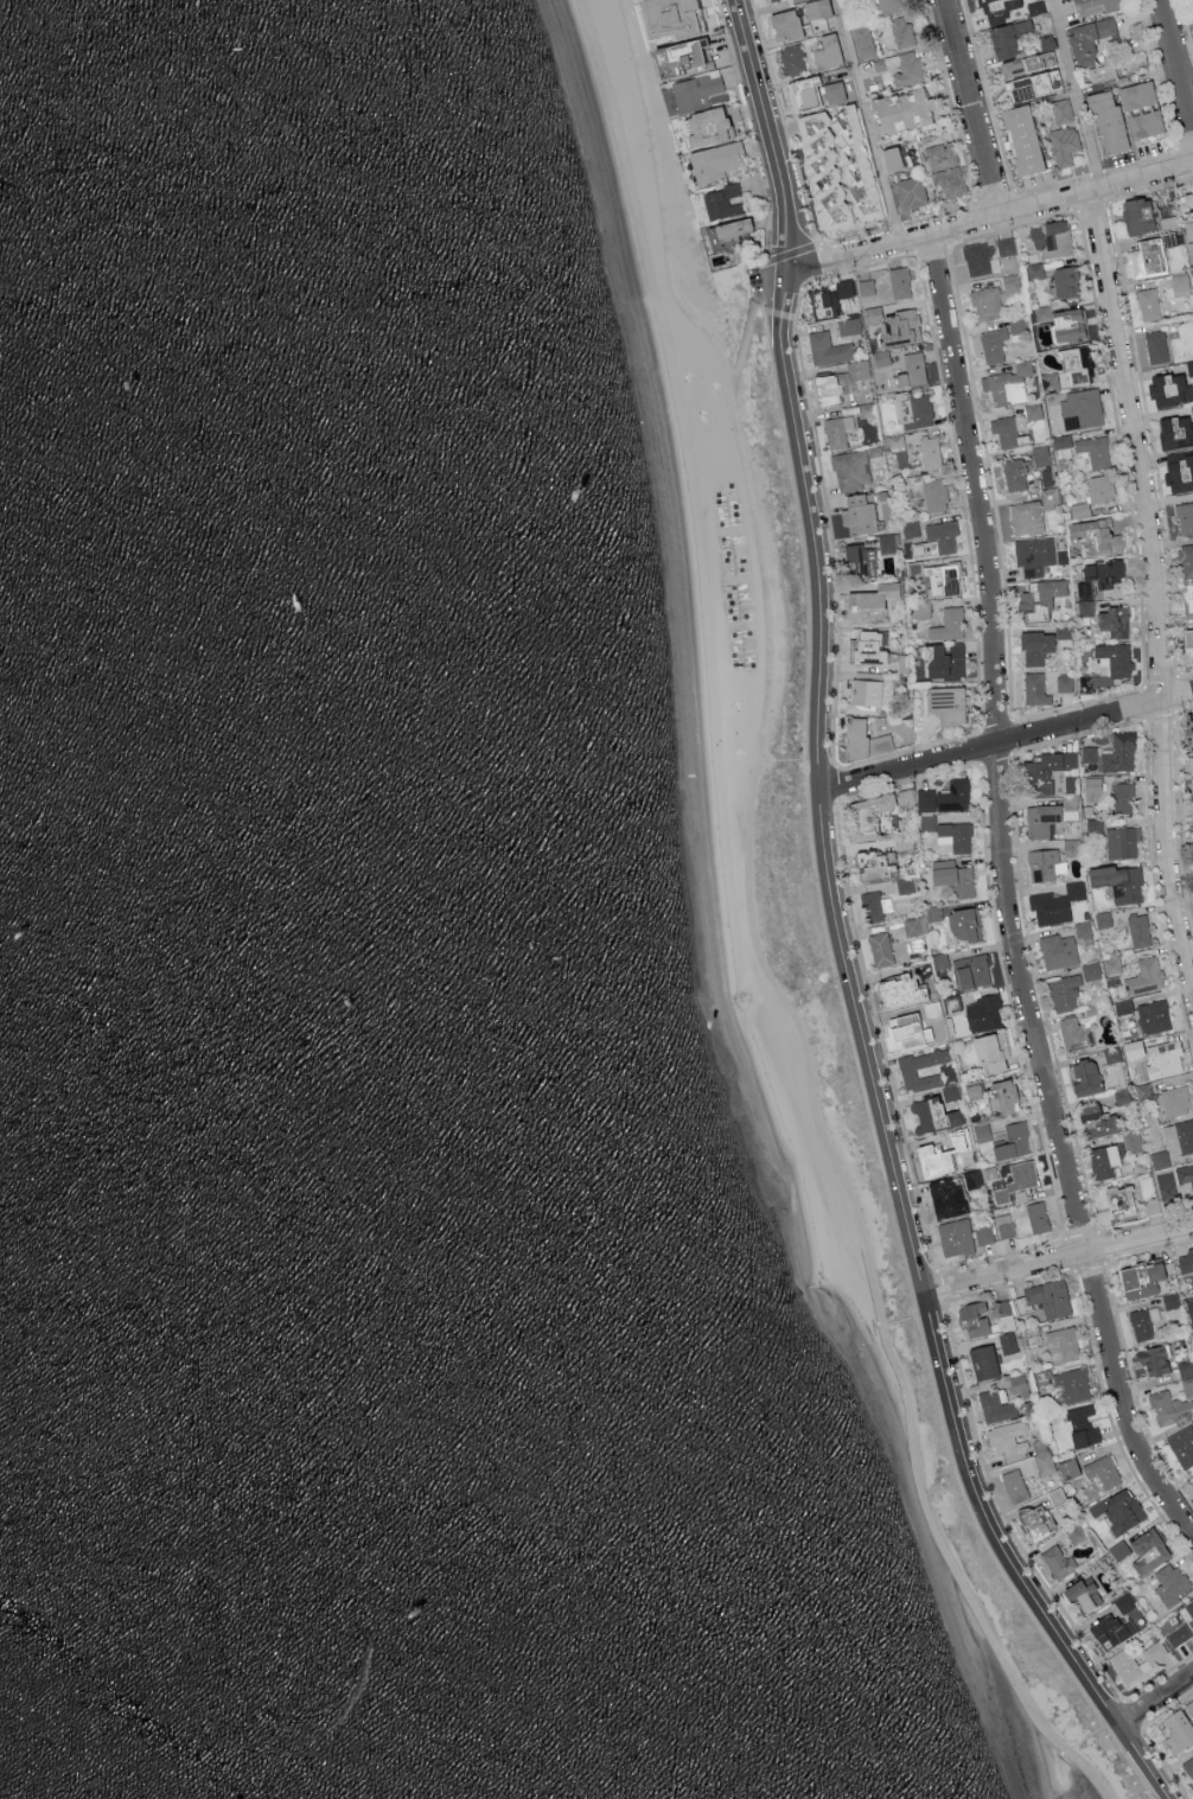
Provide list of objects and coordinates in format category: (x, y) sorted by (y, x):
building: (770, 0)
building: (888, 5)
building: (997, 5)
building: (1093, 5)
building: (1035, 7)
building: (816, 8)
building: (676, 19)
building: (784, 24)
road: (1185, 26)
building: (900, 31)
building: (1010, 37)
building: (1087, 38)
building: (862, 40)
building: (1047, 42)
building: (827, 51)
building: (792, 59)
building: (1034, 59)
building: (685, 60)
road: (1176, 62)
building: (900, 66)
building: (1102, 71)
building: (1032, 83)
building: (695, 90)
building: (805, 90)
building: (832, 90)
building: (1135, 94)
road: (988, 95)
road: (1076, 95)
road: (949, 100)
road: (971, 108)
building: (899, 109)
building: (1061, 109)
road: (1167, 111)
road: (867, 121)
building: (1106, 121)
building: (1143, 123)
building: (704, 125)
road: (651, 126)
road: (749, 138)
building: (1021, 139)
building: (1063, 143)
road: (1185, 146)
road: (793, 154)
building: (940, 154)
building: (889, 158)
building: (714, 160)
building: (836, 166)
road: (1096, 173)
building: (949, 180)
road: (1052, 184)
road: (1150, 190)
building: (908, 192)
road: (994, 194)
building: (721, 200)
building: (1186, 202)
road: (1093, 206)
road: (938, 213)
building: (1135, 213)
road: (989, 218)
road: (1045, 219)
road: (893, 225)
building: (731, 229)
building: (1051, 238)
building: (1004, 245)
road: (930, 248)
building: (1191, 250)
road: (790, 251)
building: (1144, 257)
building: (980, 259)
road: (810, 266)
road: (855, 268)
building: (1034, 269)
building: (1191, 272)
parking lot: (754, 279)
road: (761, 281)
building: (886, 281)
building: (1064, 281)
building: (1010, 282)
building: (1179, 285)
road: (779, 294)
building: (827, 296)
building: (985, 302)
building: (1148, 302)
building: (1040, 313)
building: (893, 324)
building: (849, 325)
building: (1070, 325)
road: (747, 327)
building: (993, 344)
building: (1155, 345)
building: (828, 347)
building: (880, 356)
building: (1072, 365)
building: (1189, 366)
building: (911, 368)
building: (1010, 381)
building: (825, 388)
building: (1168, 389)
building: (1079, 408)
building: (913, 409)
building: (1192, 409)
building: (1032, 410)
building: (837, 429)
building: (1003, 429)
building: (1174, 430)
road: (1149, 438)
building: (1061, 445)
road: (983, 447)
building: (1093, 449)
building: (929, 452)
building: (1040, 455)
building: (850, 470)
building: (1178, 471)
building: (1014, 473)
building: (1098, 487)
building: (933, 495)
building: (1079, 509)
building: (857, 512)
road: (1131, 515)
building: (1026, 517)
building: (1184, 517)
road: (829, 525)
building: (910, 527)
road: (802, 532)
building: (1096, 532)
building: (936, 538)
building: (886, 543)
building: (1033, 554)
building: (859, 560)
building: (1186, 560)
road: (970, 563)
building: (1097, 575)
building: (943, 579)
road: (1157, 588)
building: (1188, 597)
building: (1039, 599)
building: (868, 602)
building: (1085, 607)
building: (920, 608)
building: (1112, 620)
building: (946, 624)
building: (1187, 642)
building: (1034, 646)
building: (867, 647)
building: (944, 661)
building: (1106, 666)
road: (1185, 674)
road: (1160, 681)
building: (1064, 682)
building: (888, 687)
building: (1034, 688)
building: (865, 691)
road: (1174, 693)
building: (945, 703)
road: (1143, 719)
building: (1189, 722)
road: (996, 726)
building: (862, 739)
road: (1008, 744)
road: (981, 747)
road: (1010, 752)
building: (1112, 753)
road: (819, 766)
building: (1046, 770)
building: (1191, 773)
road: (835, 782)
building: (1070, 783)
building: (1093, 783)
building: (945, 796)
building: (1122, 797)
building: (1191, 808)
building: (869, 810)
building: (1041, 819)
building: (949, 832)
building: (1121, 841)
building: (1070, 846)
building: (1044, 863)
building: (873, 865)
building: (951, 875)
building: (1117, 881)
building: (905, 885)
road: (1004, 898)
building: (1054, 902)
building: (873, 906)
building: (932, 913)
building: (1102, 919)
building: (962, 925)
building: (911, 926)
building: (1082, 929)
road: (840, 930)
building: (1138, 930)
building: (880, 949)
building: (1057, 951)
building: (939, 959)
building: (1111, 964)
building: (1090, 970)
building: (970, 971)
building: (1144, 976)
building: (897, 989)
building: (1064, 993)
building: (952, 1004)
building: (1123, 1006)
building: (984, 1013)
building: (1151, 1016)
building: (904, 1029)
building: (1076, 1035)
road: (853, 1042)
road: (808, 1045)
building: (1133, 1048)
building: (990, 1051)
building: (1111, 1054)
building: (1168, 1057)
building: (907, 1070)
building: (1084, 1078)
building: (971, 1090)
building: (949, 1092)
building: (1003, 1096)
building: (1121, 1096)
building: (1174, 1101)
building: (932, 1115)
building: (1096, 1121)
building: (982, 1131)
building: (1179, 1136)
building: (957, 1140)
building: (1013, 1141)
building: (1133, 1141)
building: (933, 1157)
building: (1160, 1159)
building: (1102, 1161)
building: (1185, 1174)
building: (1015, 1180)
building: (1166, 1185)
building: (945, 1198)
building: (1118, 1198)
building: (1036, 1217)
building: (1004, 1225)
building: (983, 1235)
building: (955, 1237)
building: (1184, 1259)
road: (1058, 1262)
building: (1140, 1280)
building: (1048, 1297)
building: (1004, 1307)
building: (972, 1319)
building: (1142, 1321)
building: (1006, 1322)
building: (1033, 1340)
building: (1063, 1340)
building: (1008, 1342)
building: (1154, 1360)
building: (982, 1363)
building: (1186, 1376)
building: (1072, 1384)
building: (1019, 1386)
building: (995, 1405)
building: (1168, 1406)
building: (1082, 1425)
building: (1008, 1437)
building: (1182, 1444)
building: (1044, 1463)
building: (1066, 1468)
building: (1102, 1471)
building: (1191, 1478)
building: (1014, 1485)
building: (1002, 1495)
building: (1118, 1511)
building: (1034, 1523)
road: (981, 1532)
building: (1119, 1550)
building: (1147, 1551)
building: (1057, 1562)
building: (1169, 1583)
building: (1082, 1595)
building: (1123, 1602)
building: (1189, 1607)
building: (1110, 1631)
building: (1178, 1634)
building: (1122, 1661)
road: (1154, 1697)
building: (1189, 1707)
road: (1133, 1711)
building: (1178, 1730)
road: (1130, 1761)
building: (1188, 1766)

